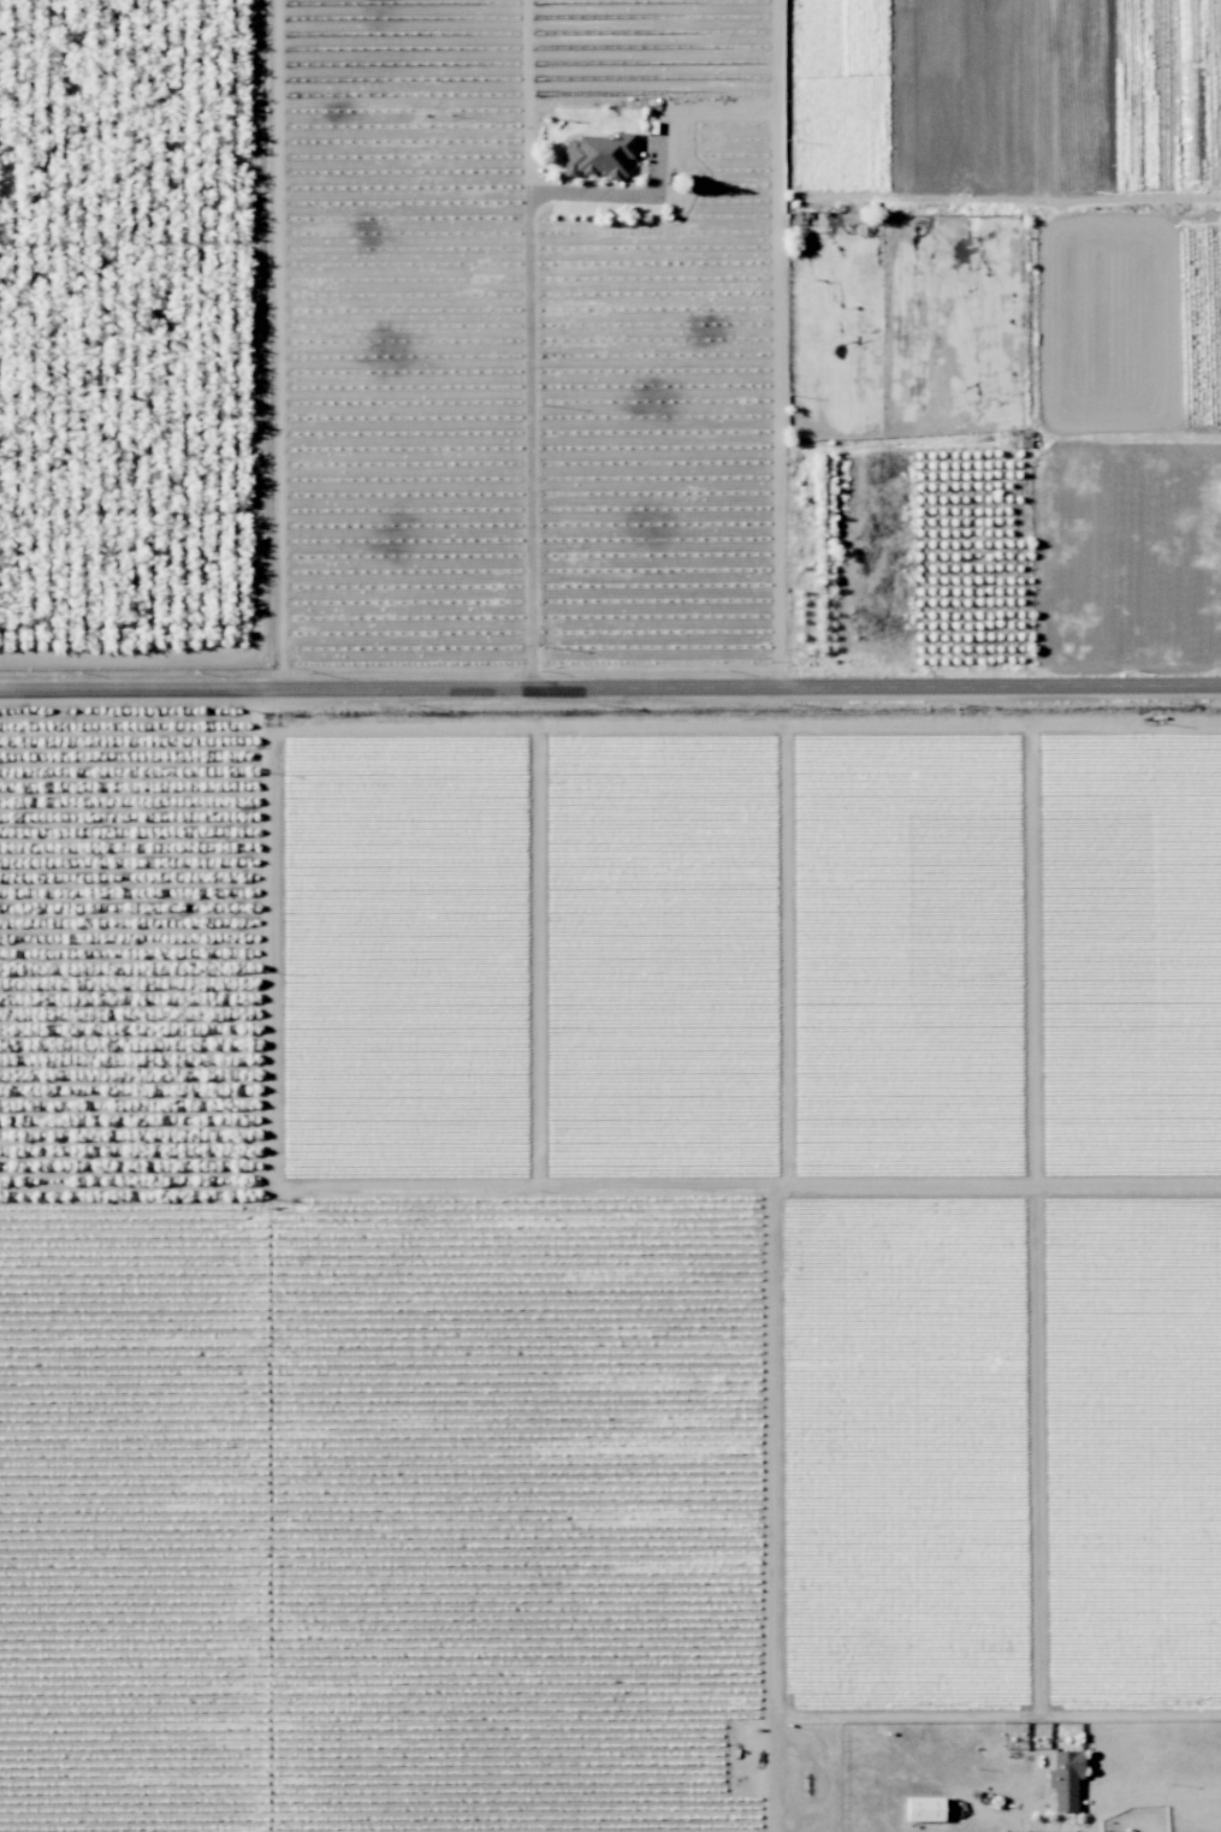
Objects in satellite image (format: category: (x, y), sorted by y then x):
building: (595, 154)
road: (617, 191)
crop: (1001, 333)
crop: (135, 336)
road: (524, 344)
road: (774, 344)
road: (610, 689)
building: (1063, 1778)
building: (923, 1808)

